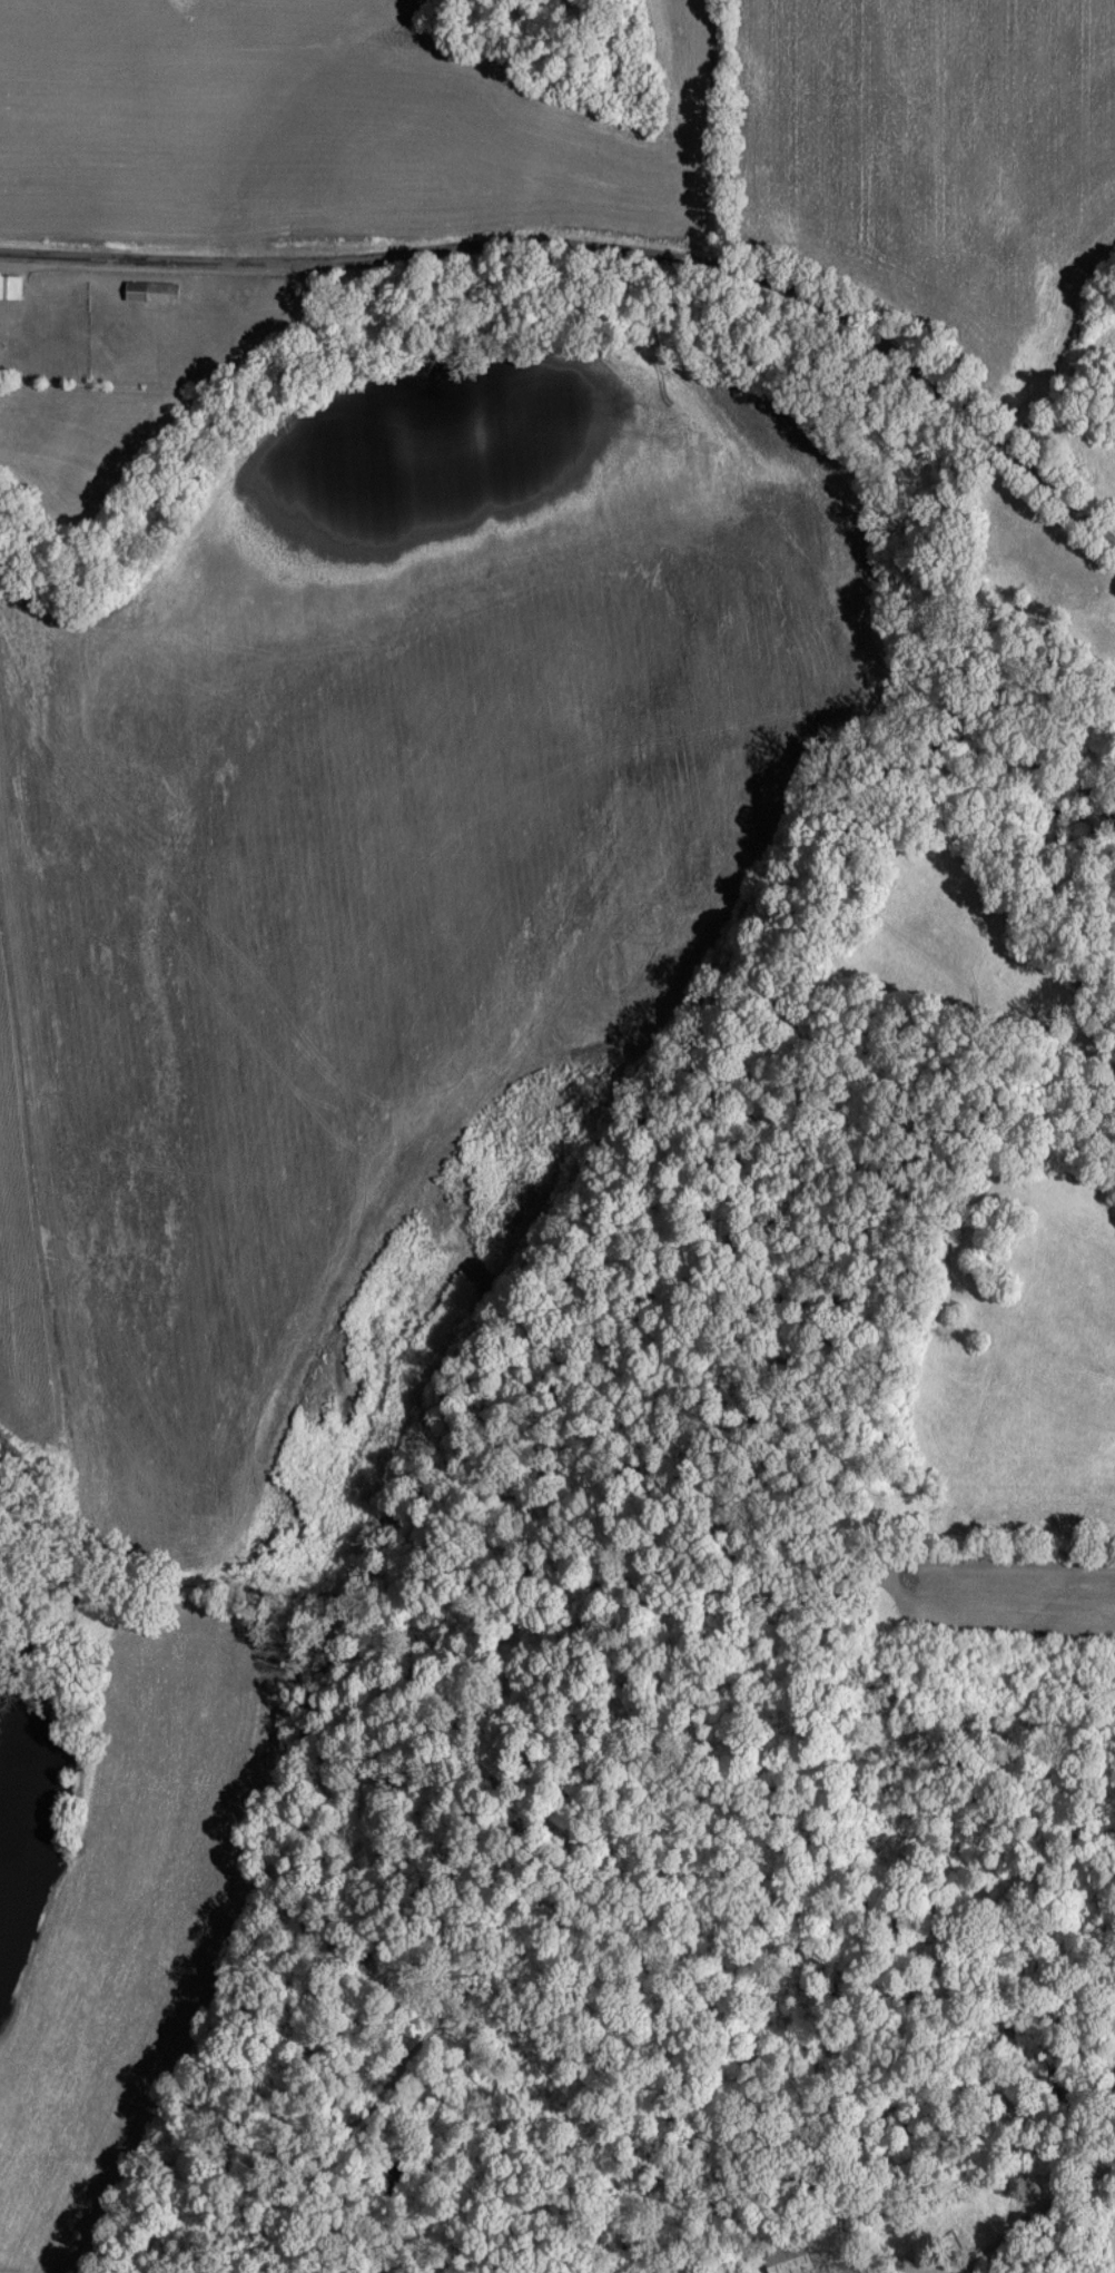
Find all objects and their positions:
road: (604, 246)
building: (10, 285)
building: (151, 291)
building: (790, 2264)

